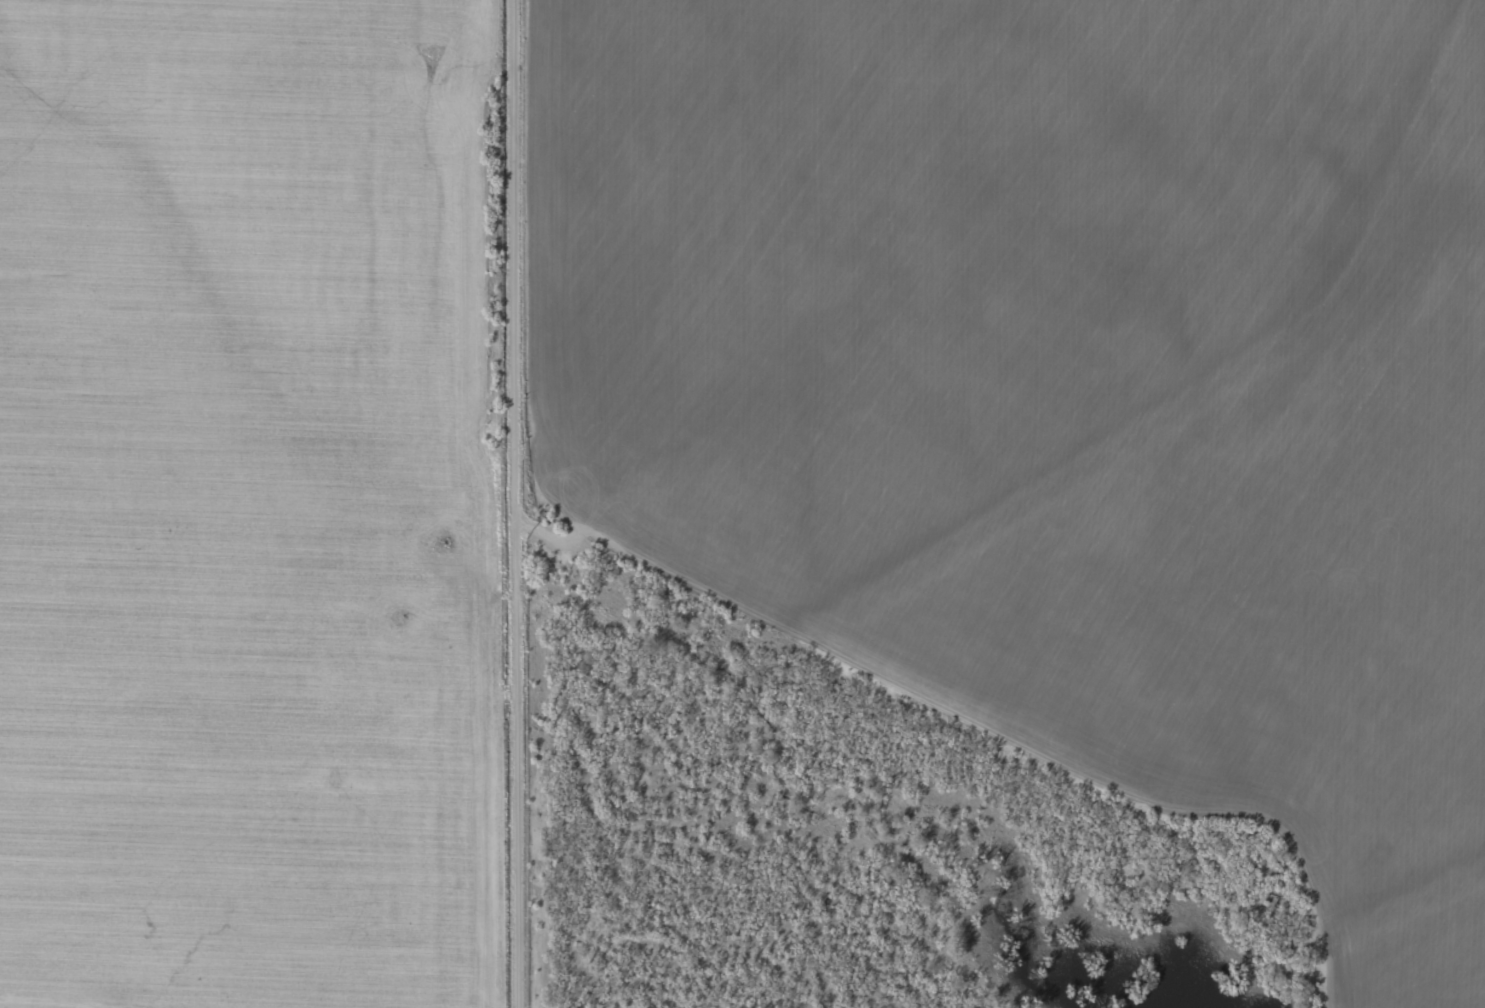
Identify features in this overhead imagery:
road: (519, 504)

